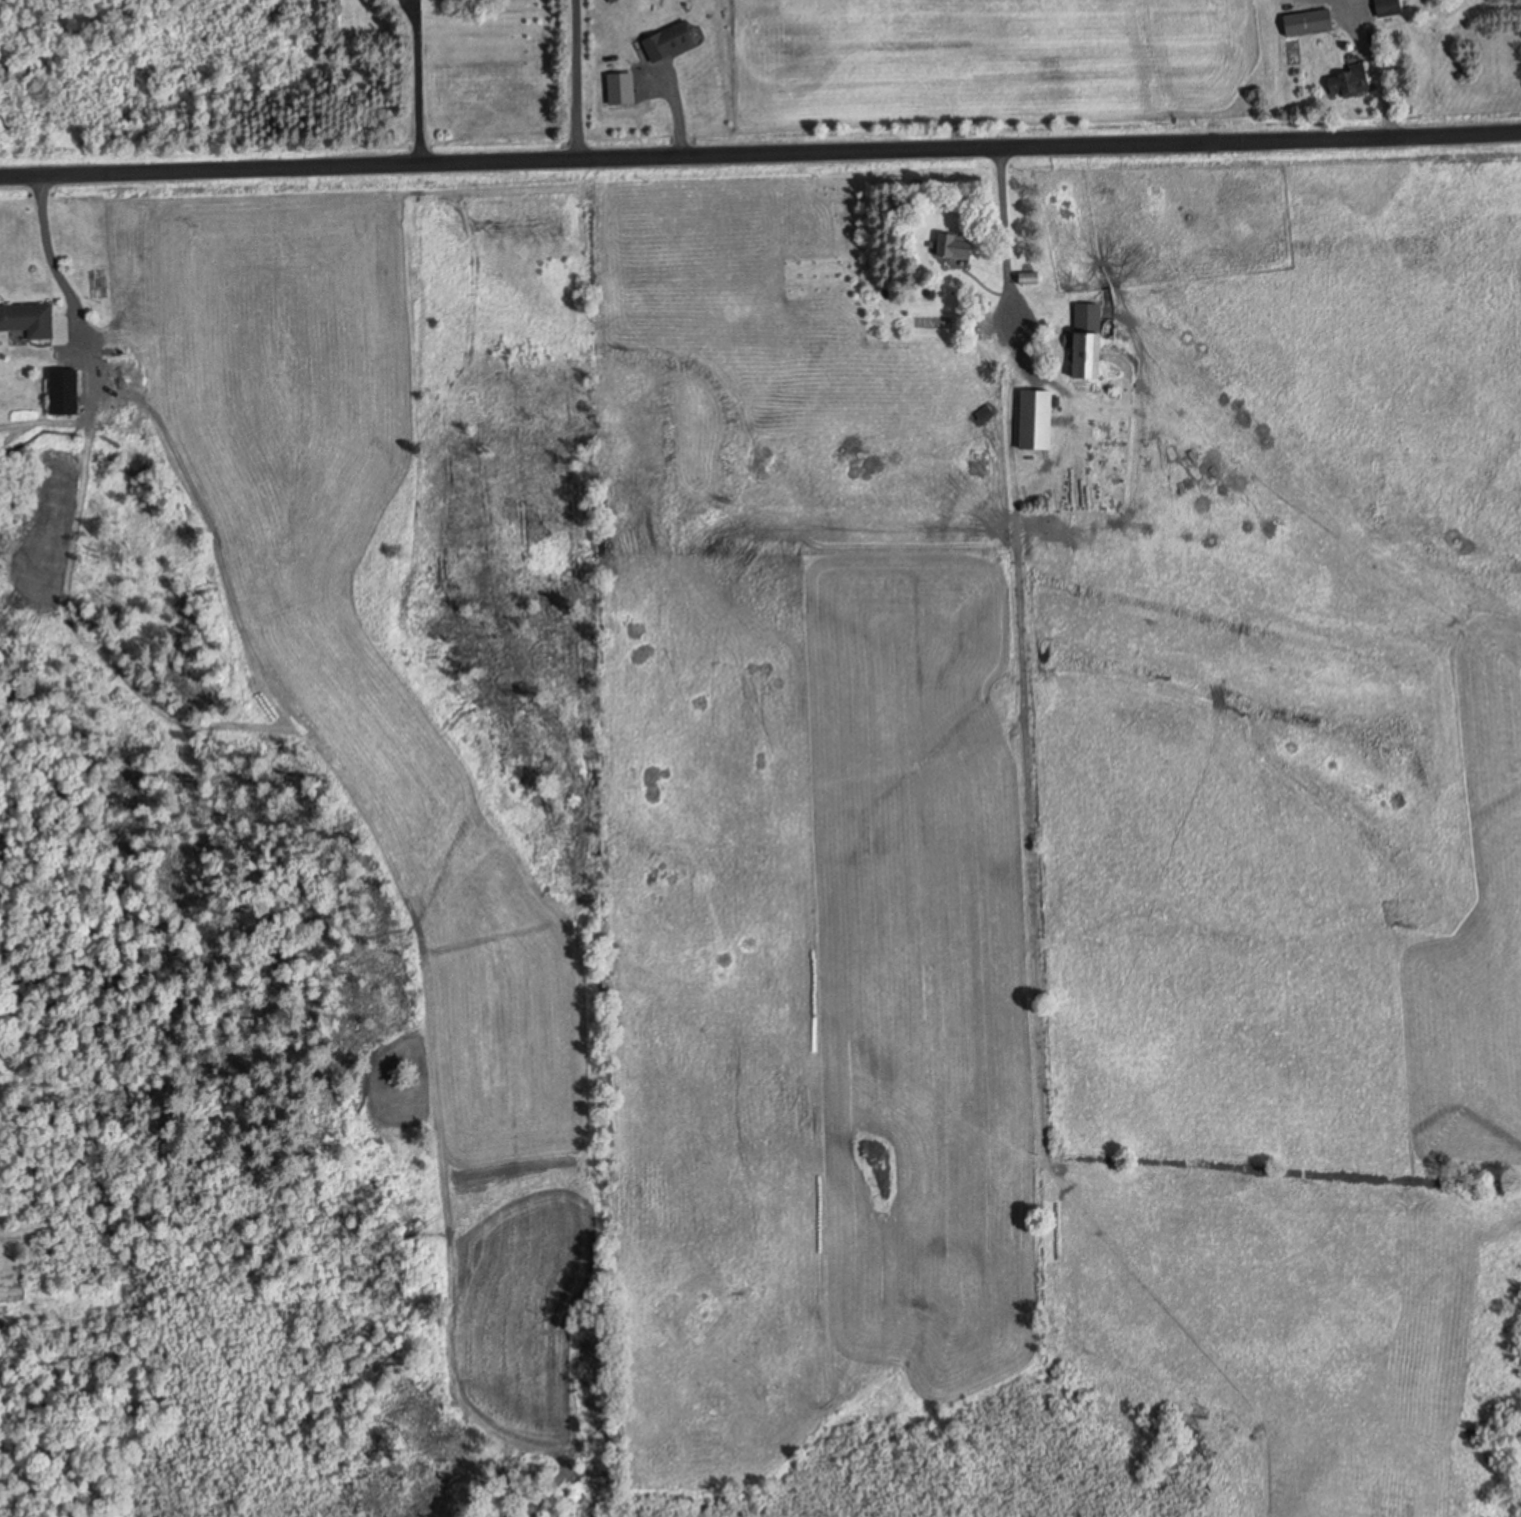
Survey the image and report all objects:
building: (1389, 7)
building: (1310, 22)
building: (670, 42)
building: (1354, 82)
road: (760, 152)
building: (958, 246)
building: (1032, 278)
building: (28, 320)
building: (1090, 341)
building: (66, 391)
building: (1038, 419)
crop: (1056, 990)

